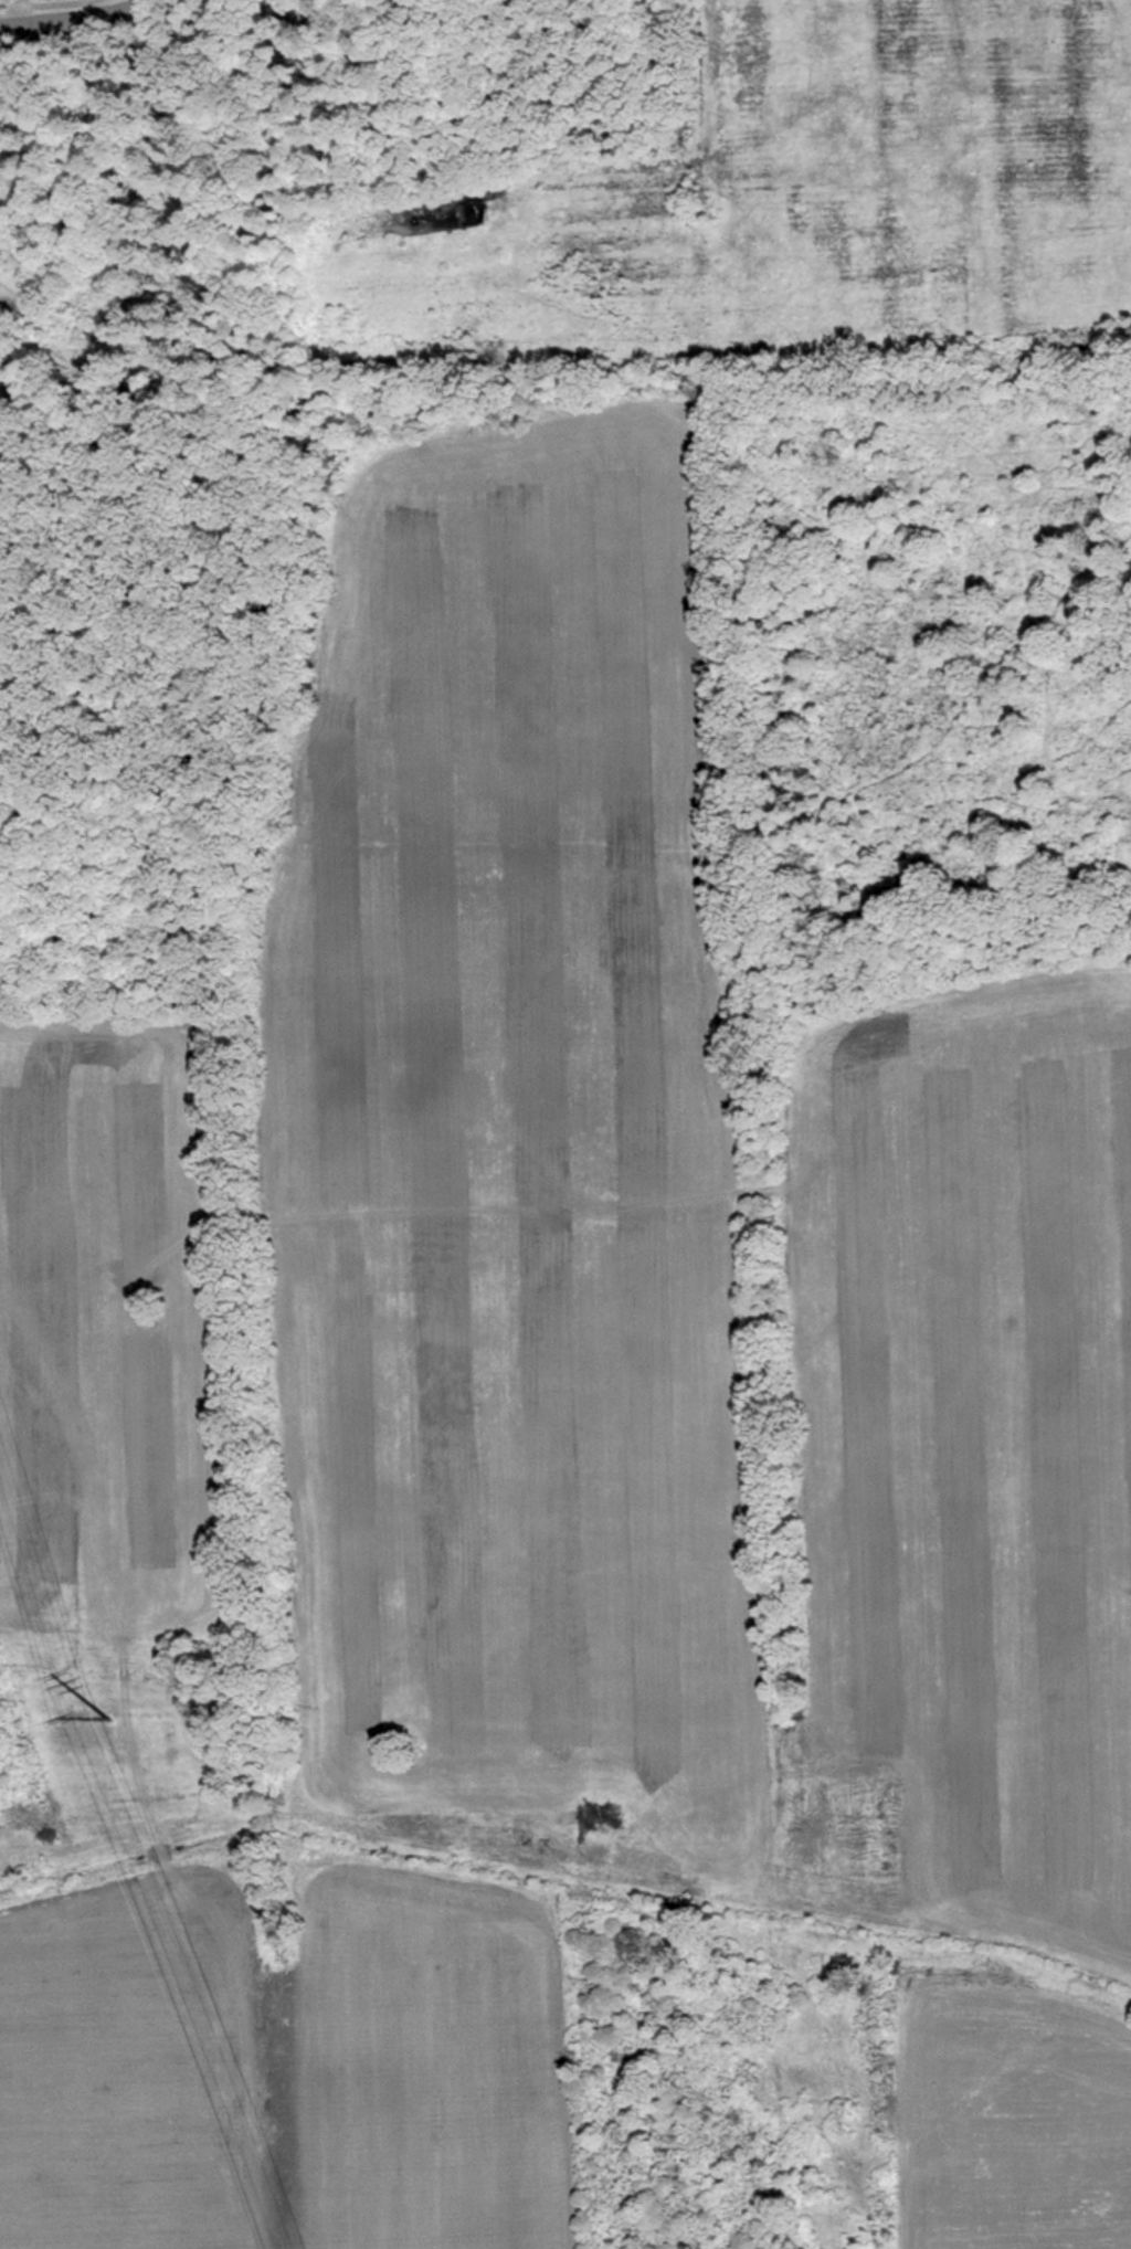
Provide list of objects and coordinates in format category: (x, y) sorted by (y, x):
power tower: (107, 1714)

